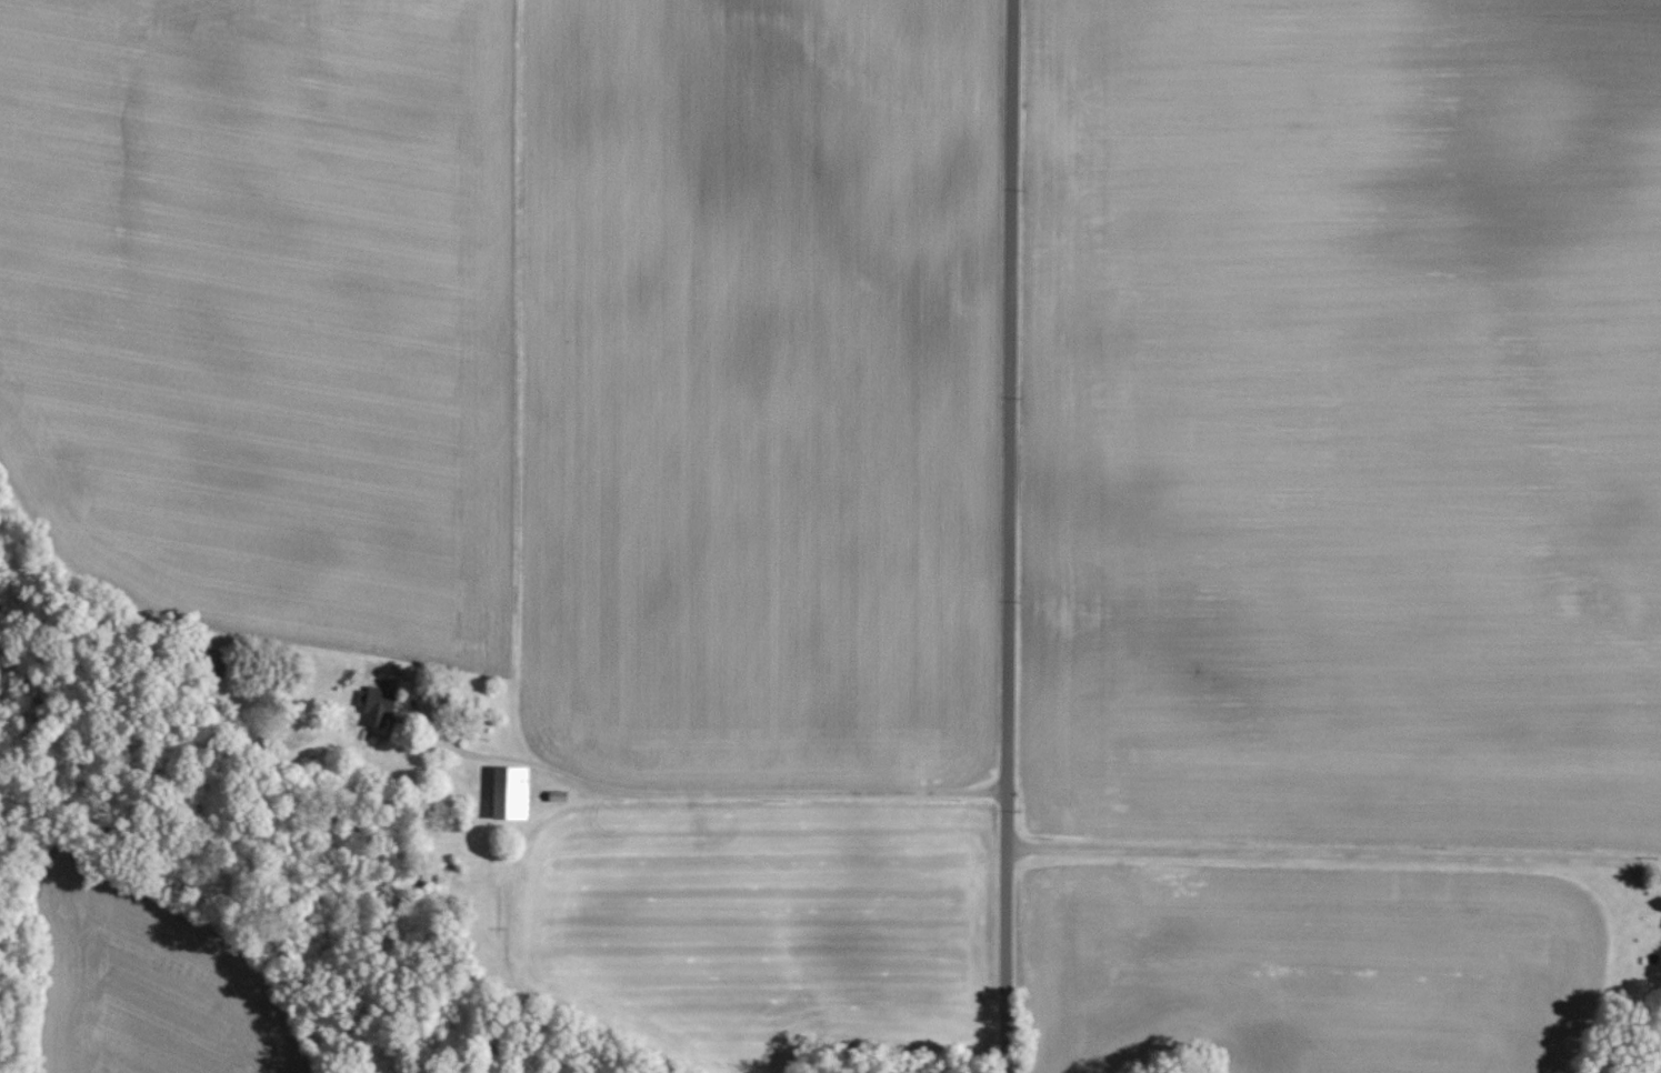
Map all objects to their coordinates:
road: (1009, 536)
building: (216, 663)
building: (379, 702)
building: (511, 792)
road: (673, 802)
road: (1333, 860)

